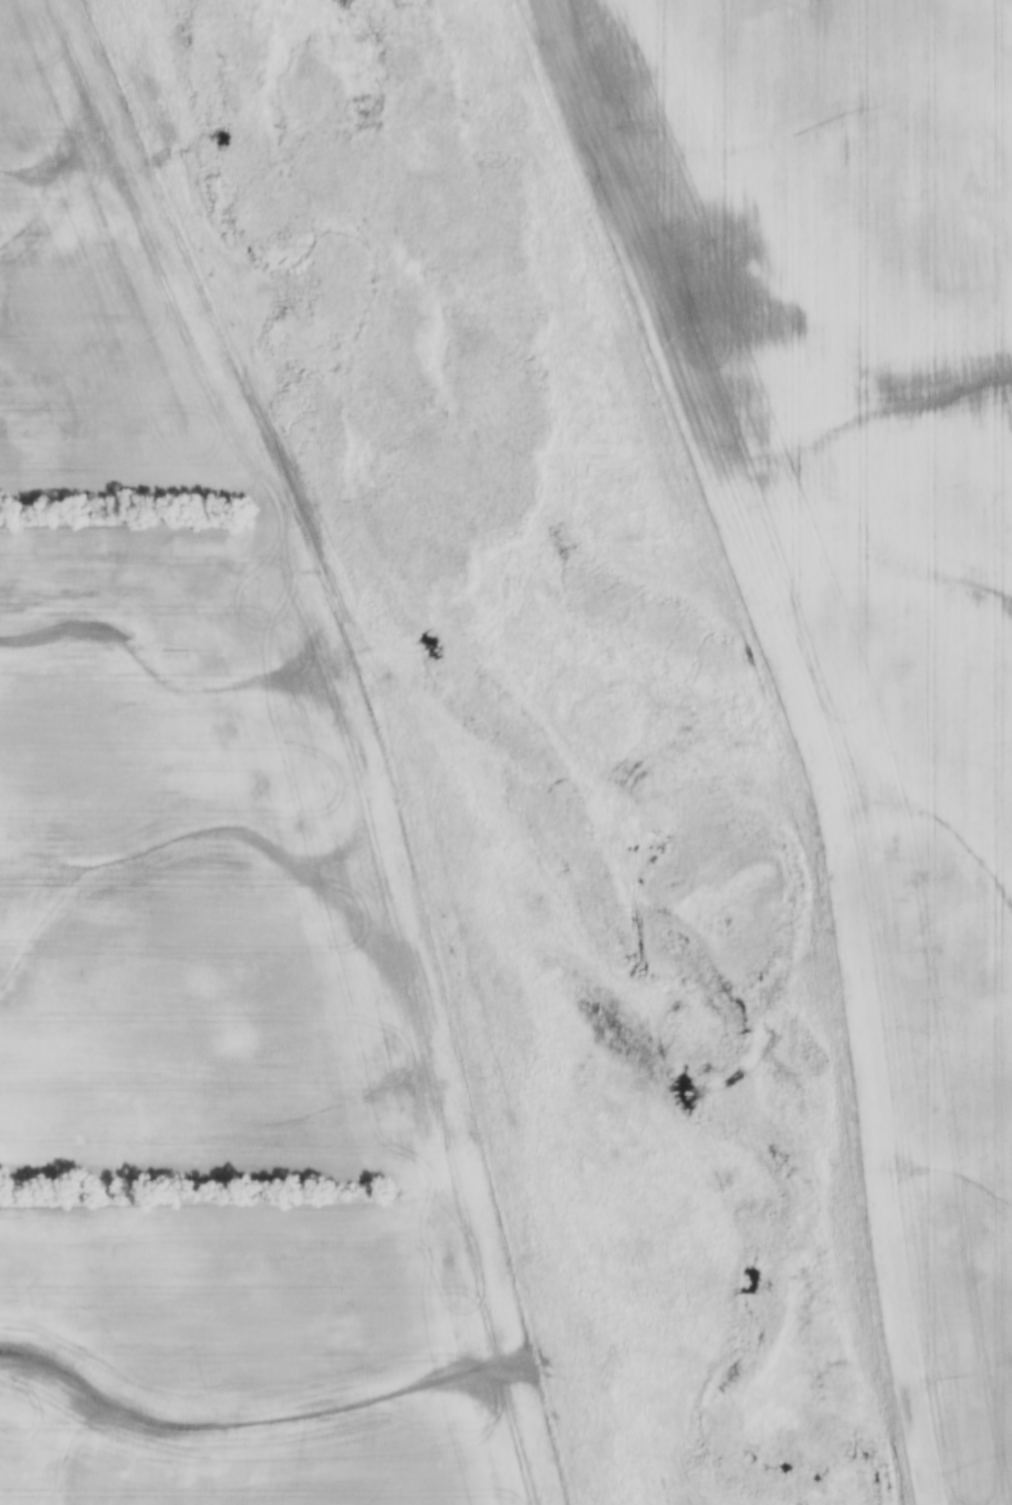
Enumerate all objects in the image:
river: (550, 807)

